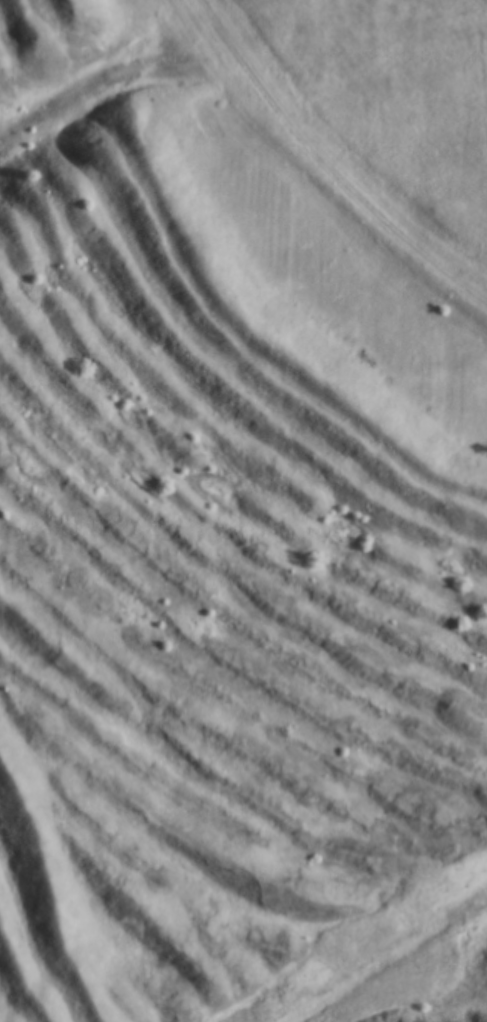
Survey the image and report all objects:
road: (328, 166)
quarry: (231, 542)
road: (388, 960)

